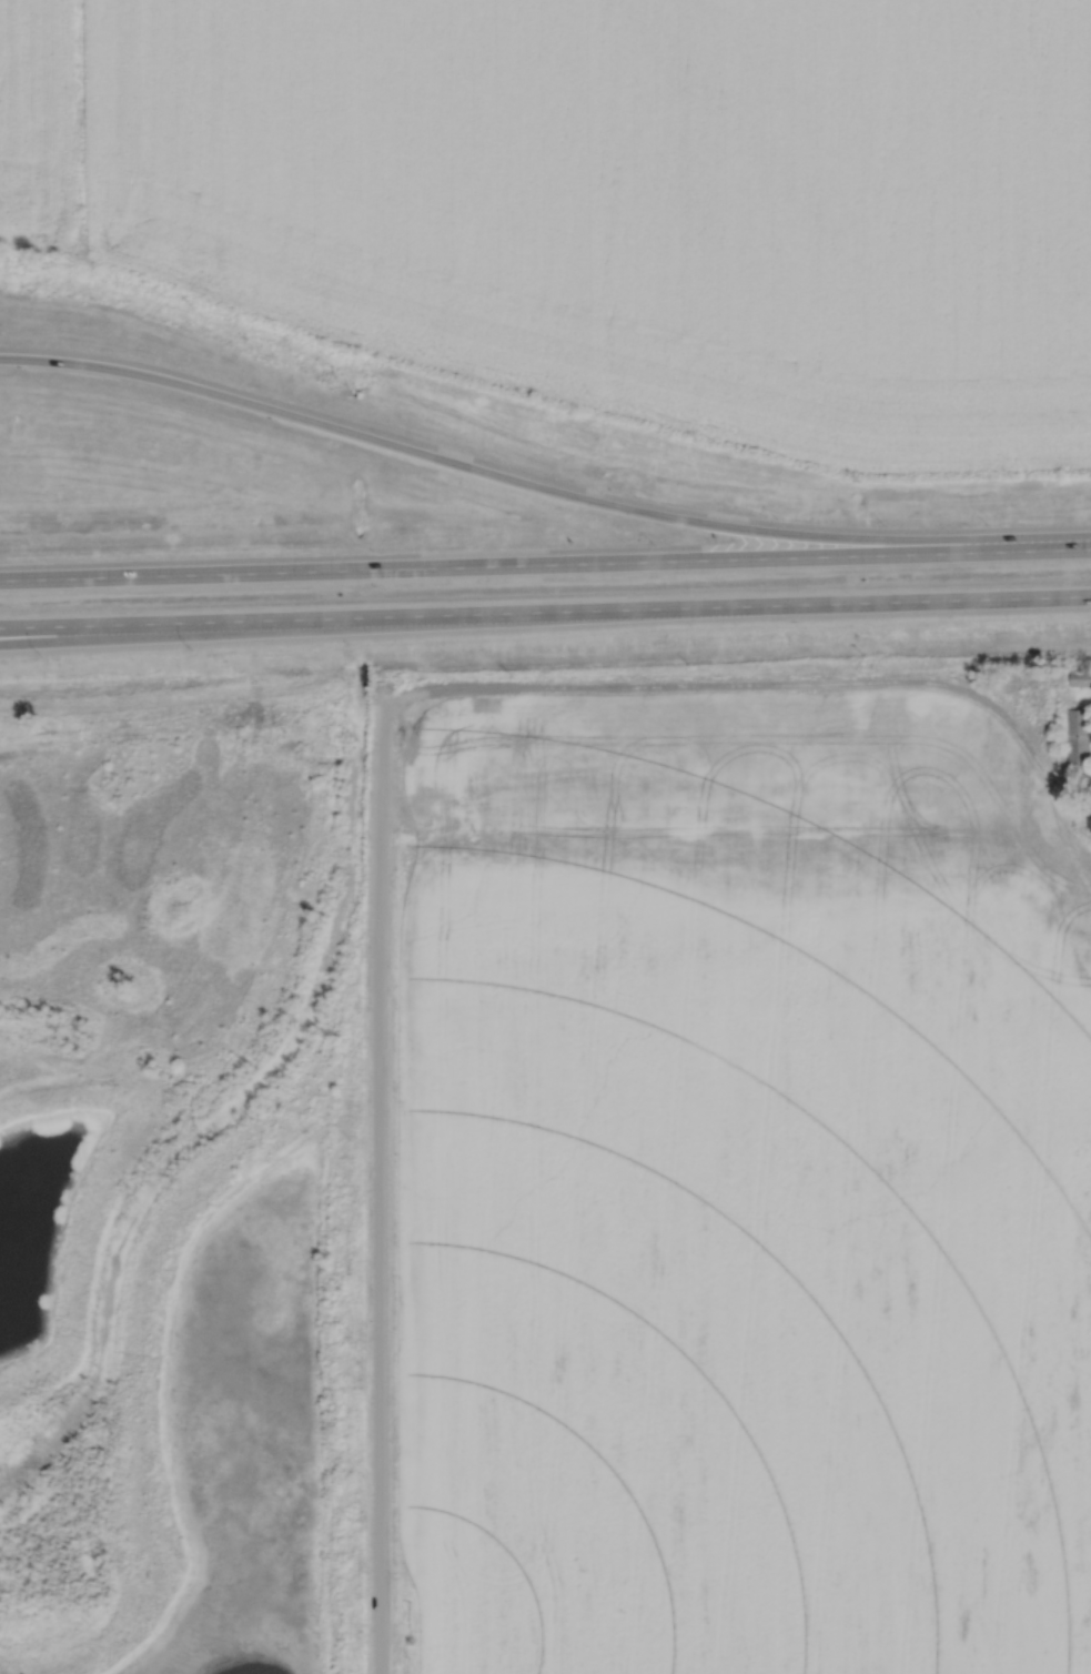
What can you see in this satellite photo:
crop: (606, 199)
road: (539, 486)
road: (545, 567)
road: (545, 612)
road: (226, 632)
building: (1080, 677)
crop: (736, 726)
building: (1078, 734)
road: (1084, 778)
road: (1084, 781)
road: (729, 787)
building: (1090, 818)
road: (381, 1183)
crop: (747, 1237)

